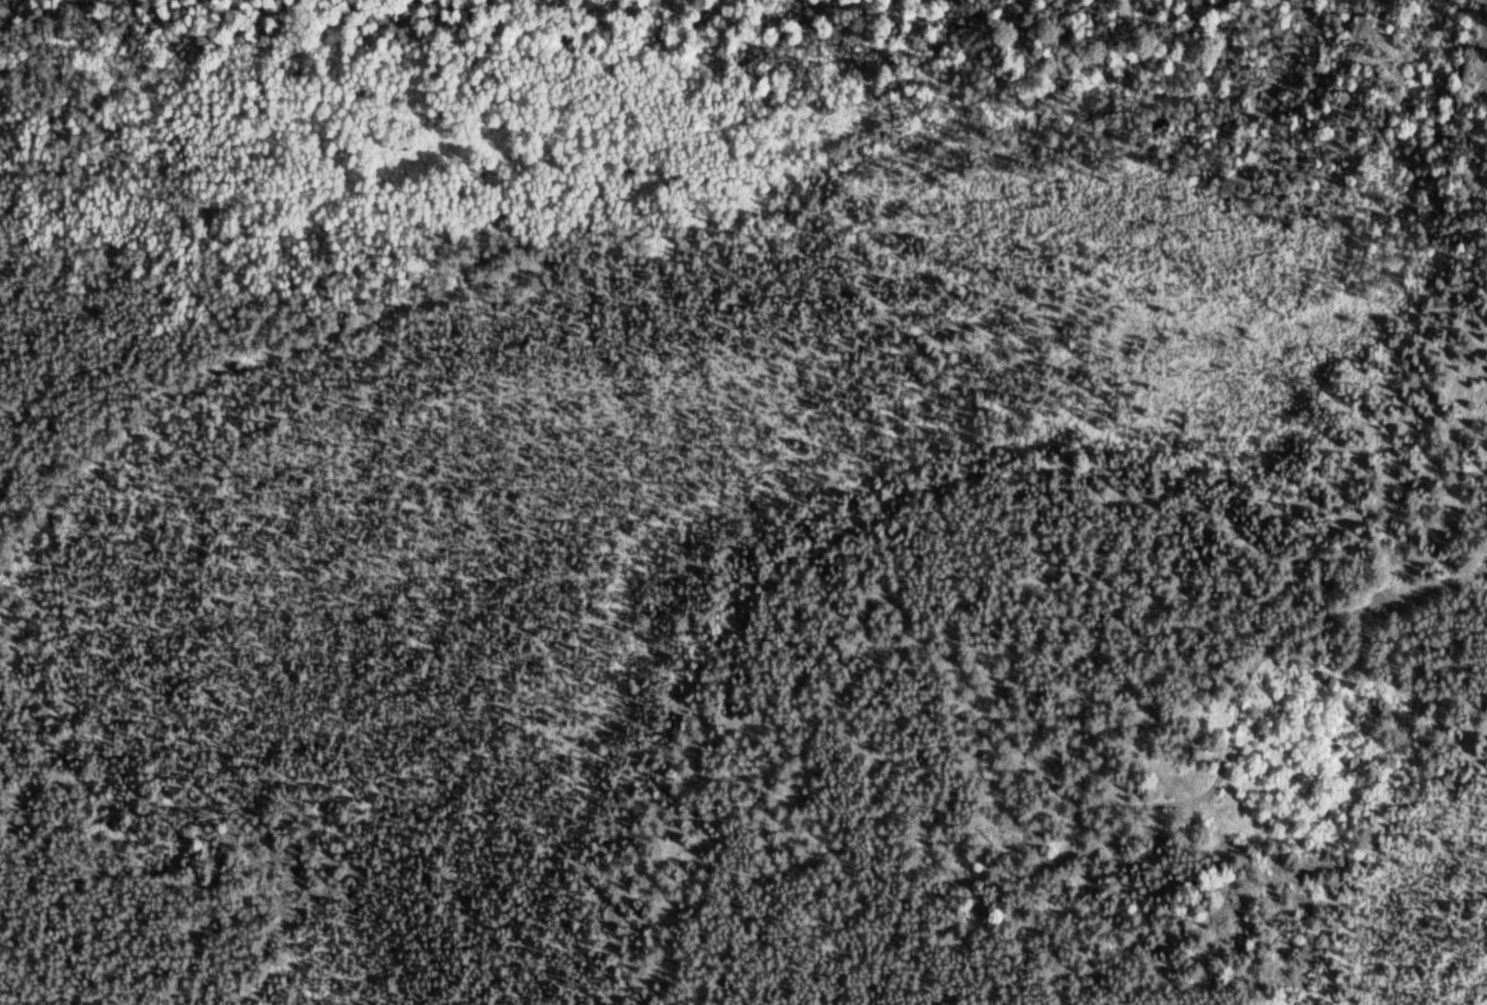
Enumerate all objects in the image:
road: (1217, 771)
road: (951, 861)

